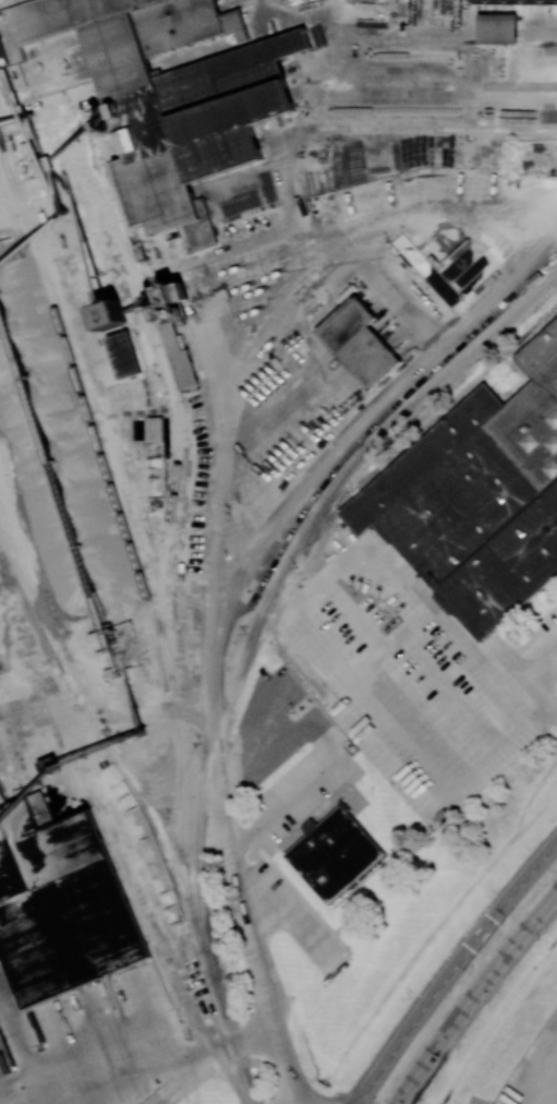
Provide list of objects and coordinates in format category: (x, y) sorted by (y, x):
building: (520, 3)
building: (497, 28)
building: (155, 92)
road: (375, 220)
building: (109, 315)
building: (358, 343)
building: (123, 355)
building: (179, 358)
railway: (173, 388)
road: (375, 404)
building: (154, 428)
building: (479, 496)
railway: (124, 525)
railway: (276, 581)
road: (524, 673)
road: (216, 696)
road: (376, 699)
road: (330, 753)
railway: (155, 818)
building: (334, 853)
building: (60, 902)
railway: (136, 904)
road: (455, 972)
road: (474, 996)
road: (160, 1054)
road: (31, 1085)
road: (294, 1101)

